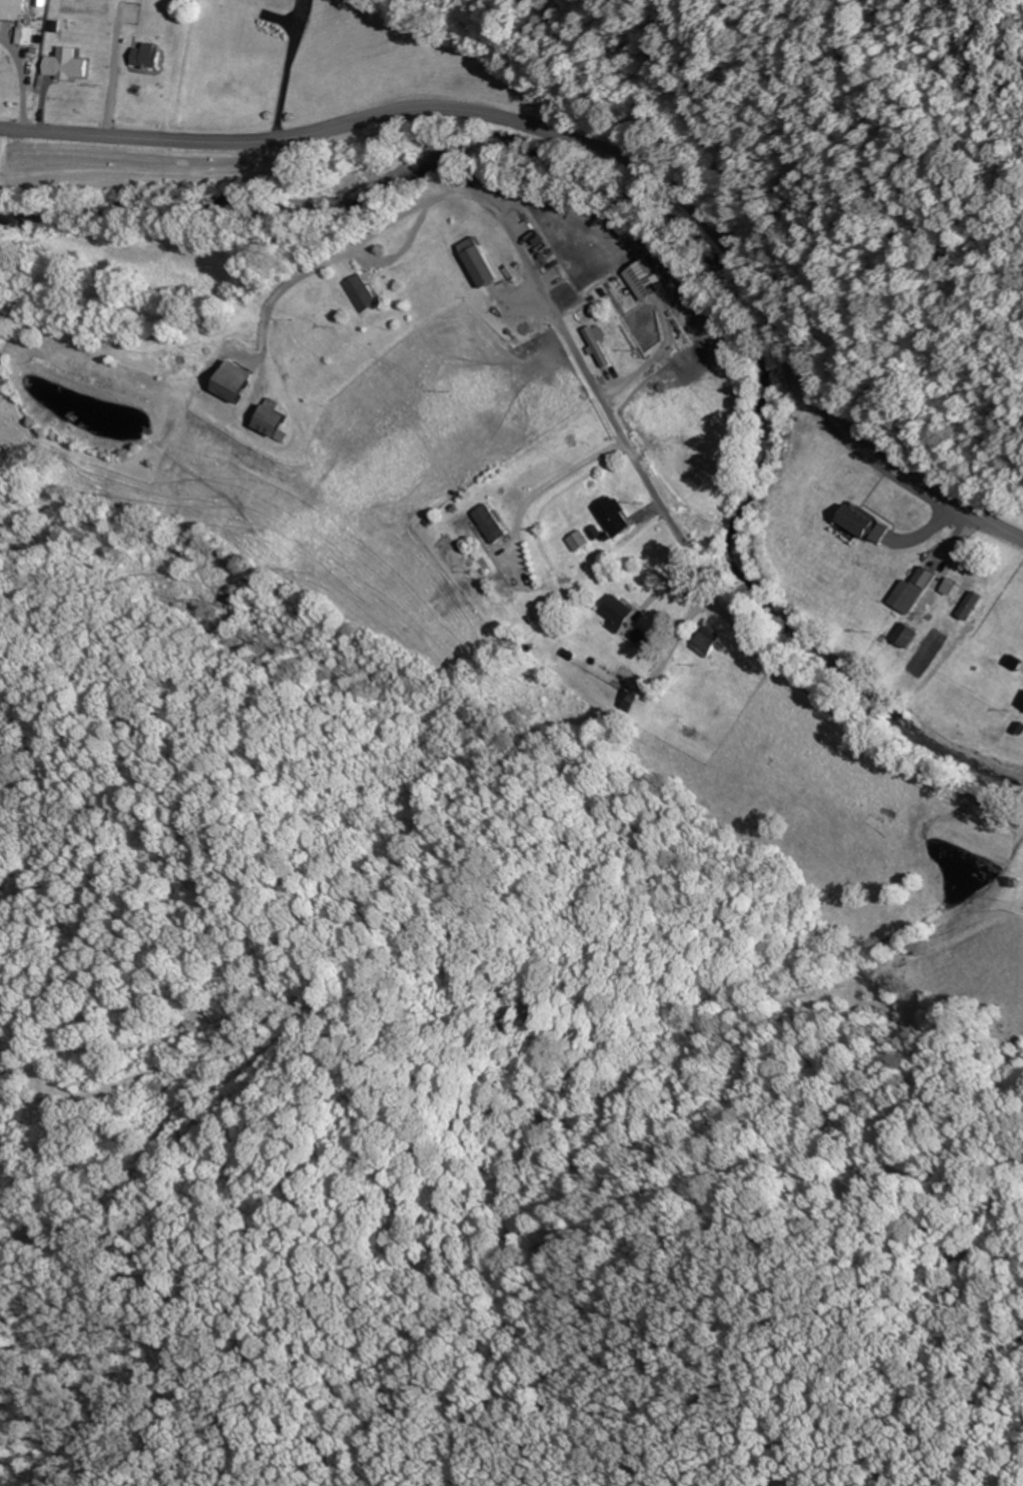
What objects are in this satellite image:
building: (15, 7)
building: (29, 34)
building: (151, 54)
building: (69, 65)
road: (589, 145)
building: (482, 261)
building: (652, 277)
building: (365, 292)
building: (602, 346)
building: (238, 378)
road: (664, 514)
building: (617, 516)
building: (493, 521)
building: (871, 523)
building: (964, 578)
building: (914, 590)
building: (620, 611)
building: (909, 635)
building: (709, 639)
building: (625, 699)
building: (1021, 701)

